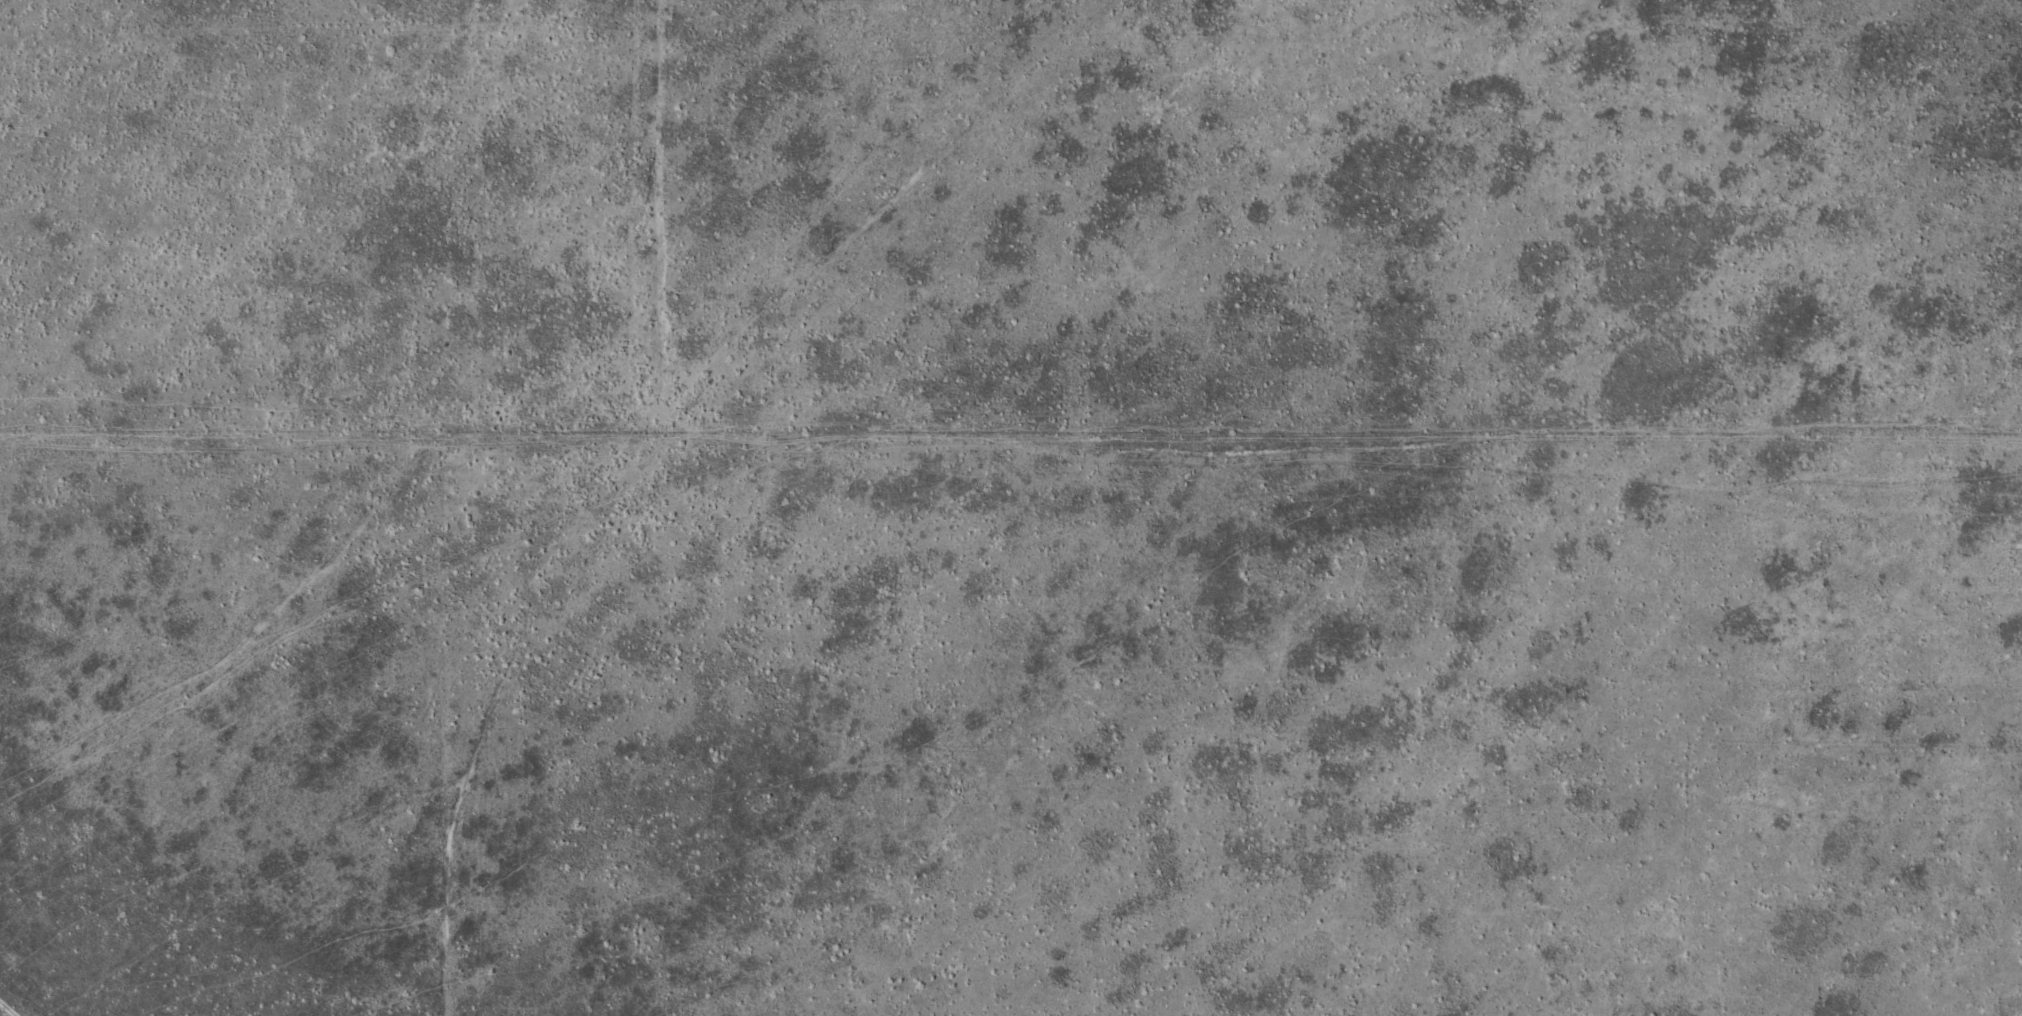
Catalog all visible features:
road: (858, 191)
road: (251, 560)

